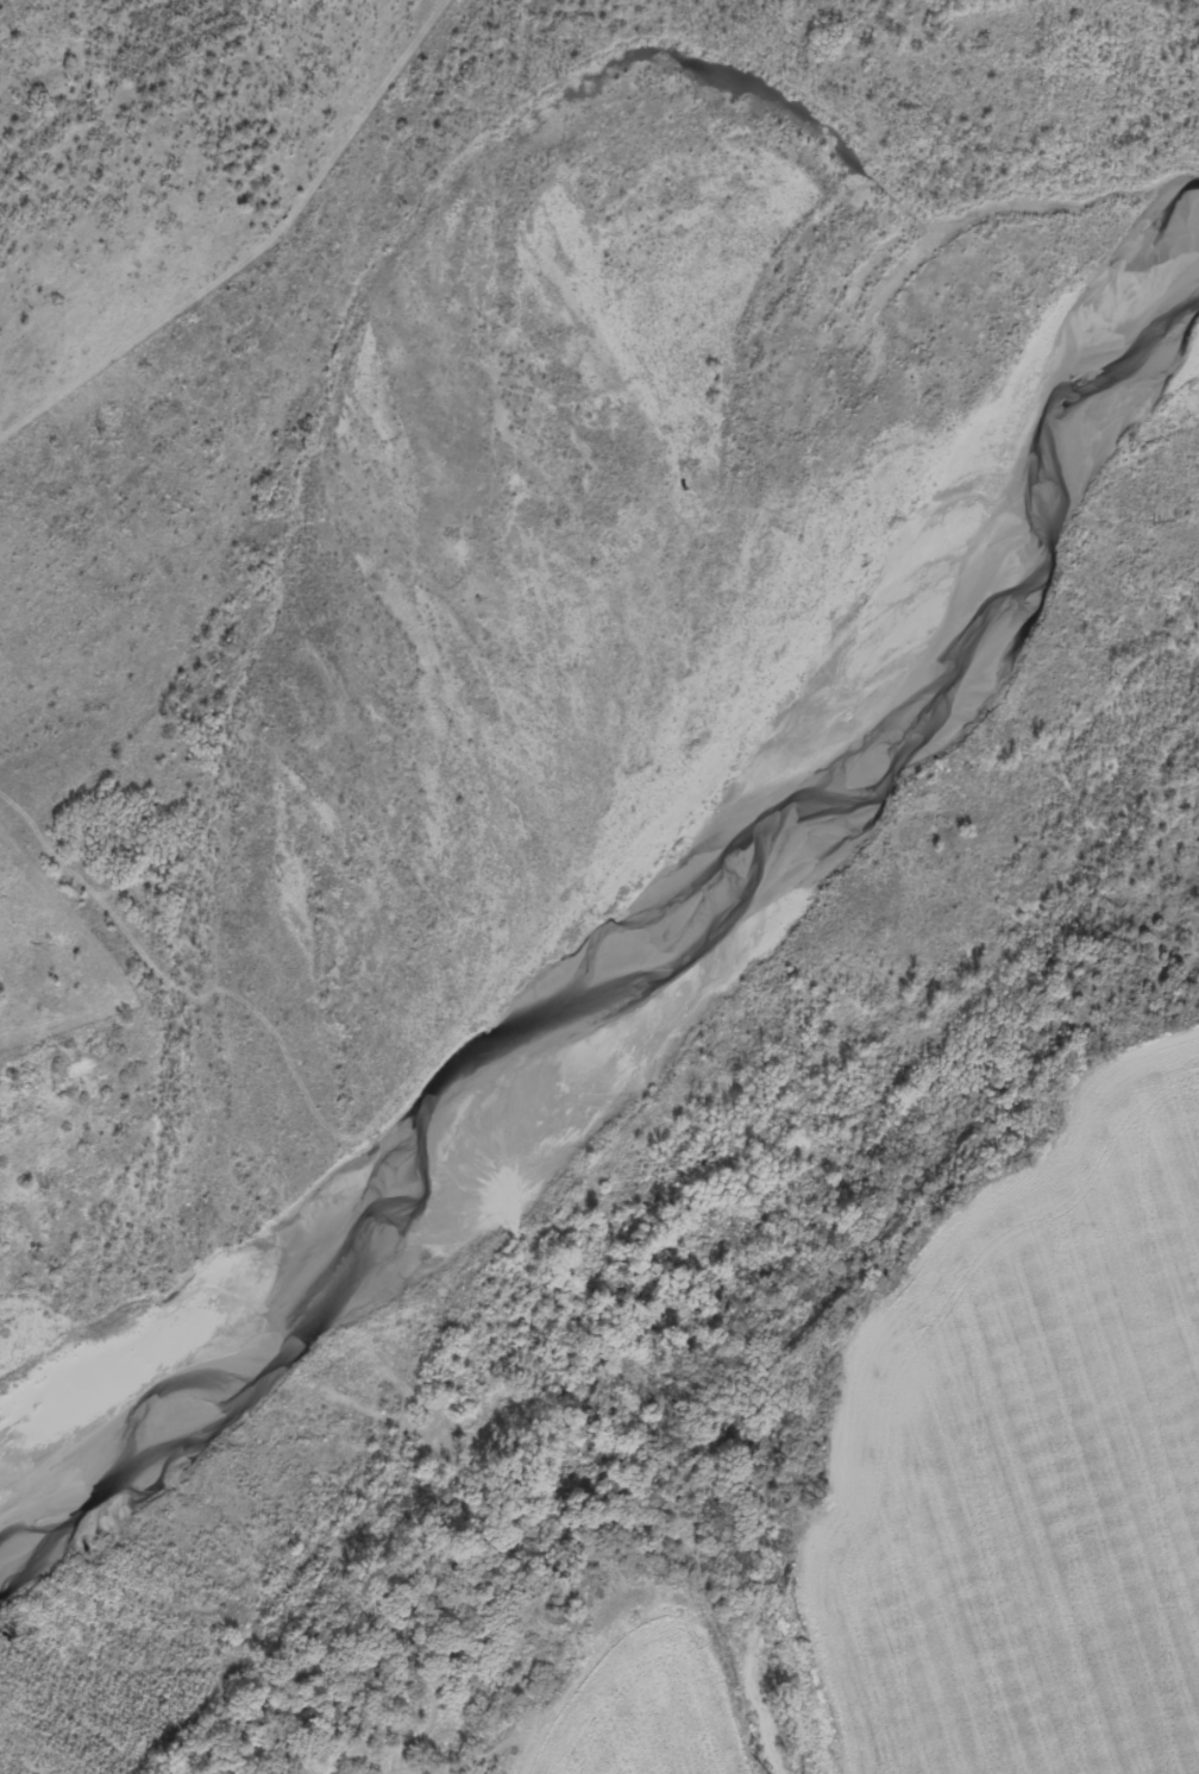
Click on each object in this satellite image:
river: (677, 812)
road: (176, 1025)

